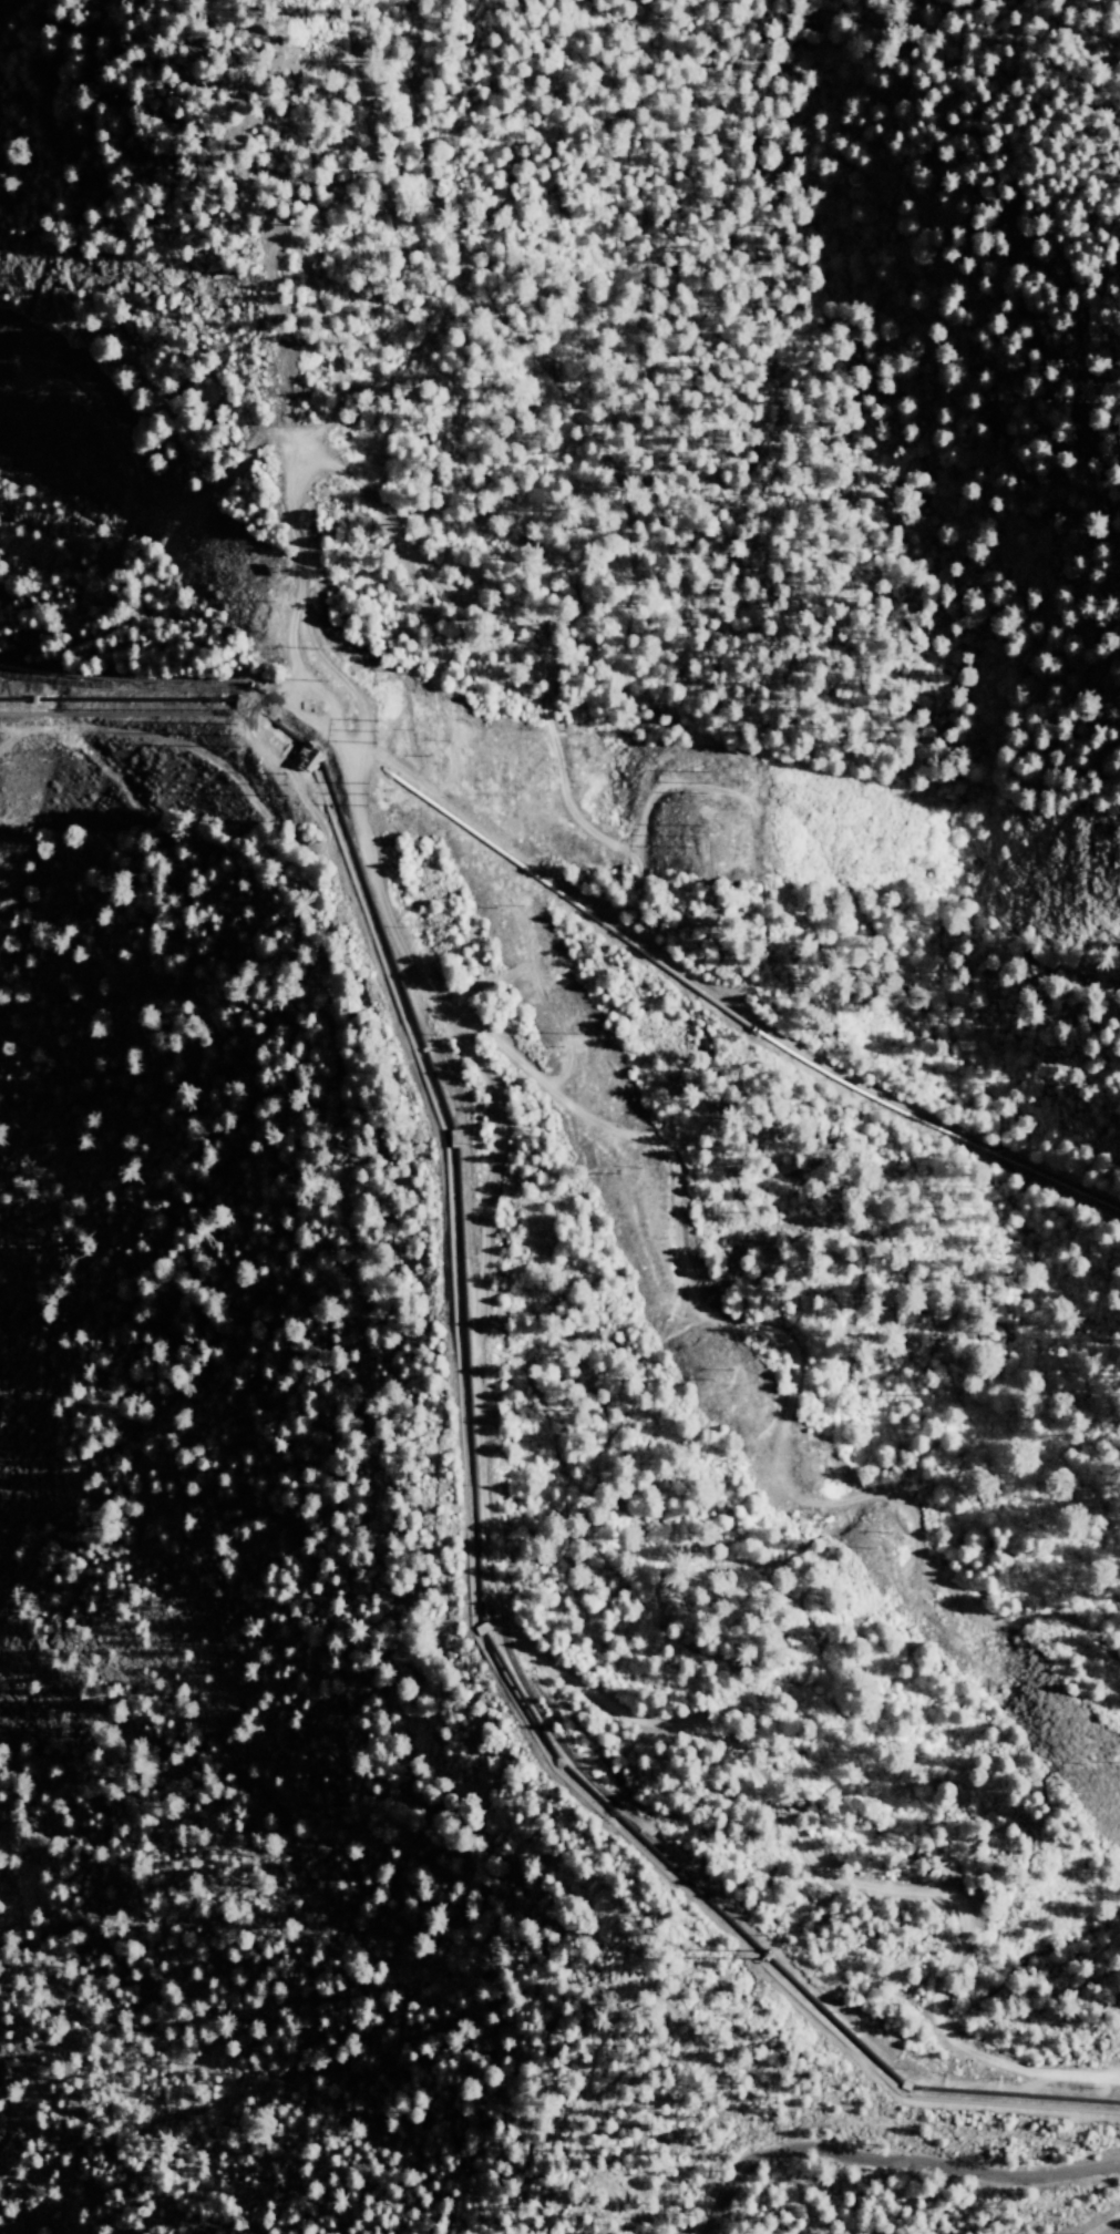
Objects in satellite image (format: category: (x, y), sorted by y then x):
power tower: (374, 730)
power tower: (236, 732)
power tower: (281, 785)
power tower: (701, 786)
power tower: (364, 793)
power tower: (689, 834)
road: (665, 1975)
road: (890, 2160)
road: (569, 2173)
road: (1103, 2225)

